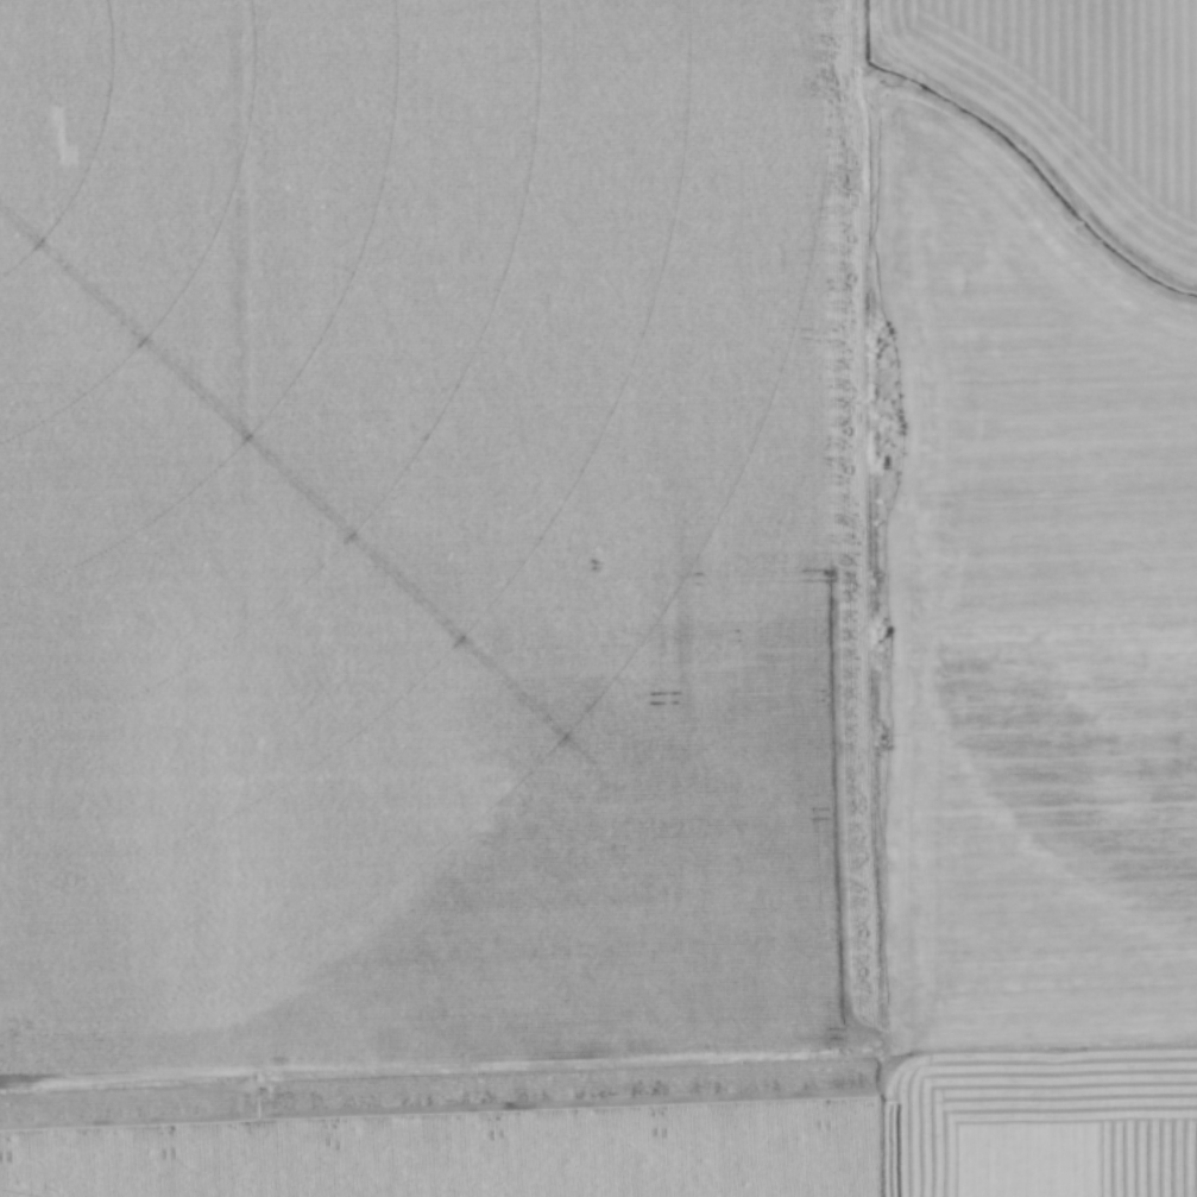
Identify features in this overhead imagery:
crop: (1081, 97)
crop: (575, 622)

